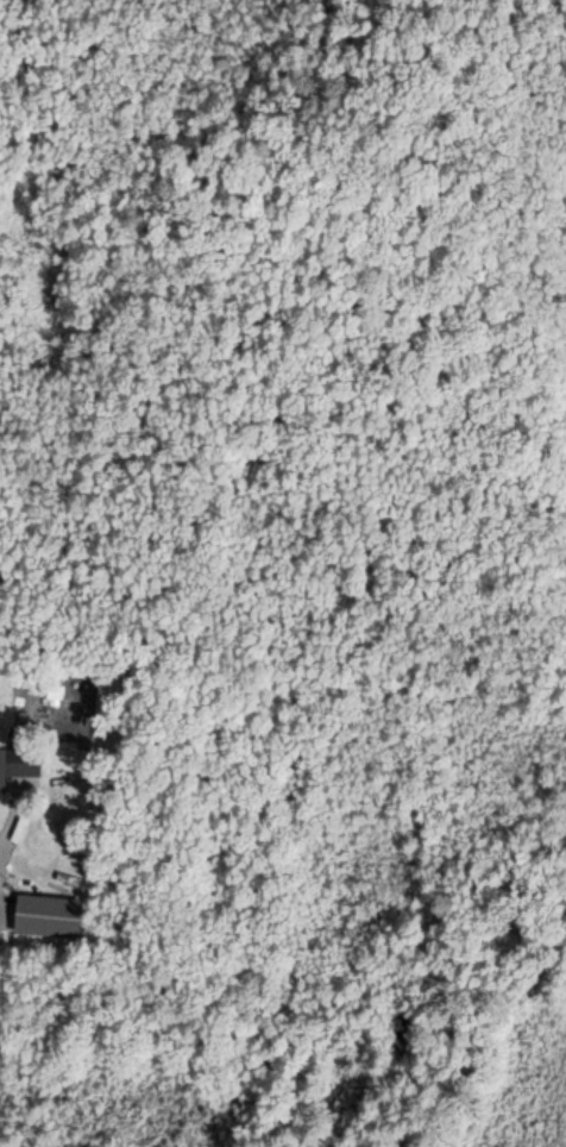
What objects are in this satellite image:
building: (17, 770)
road: (2, 846)
building: (51, 916)

